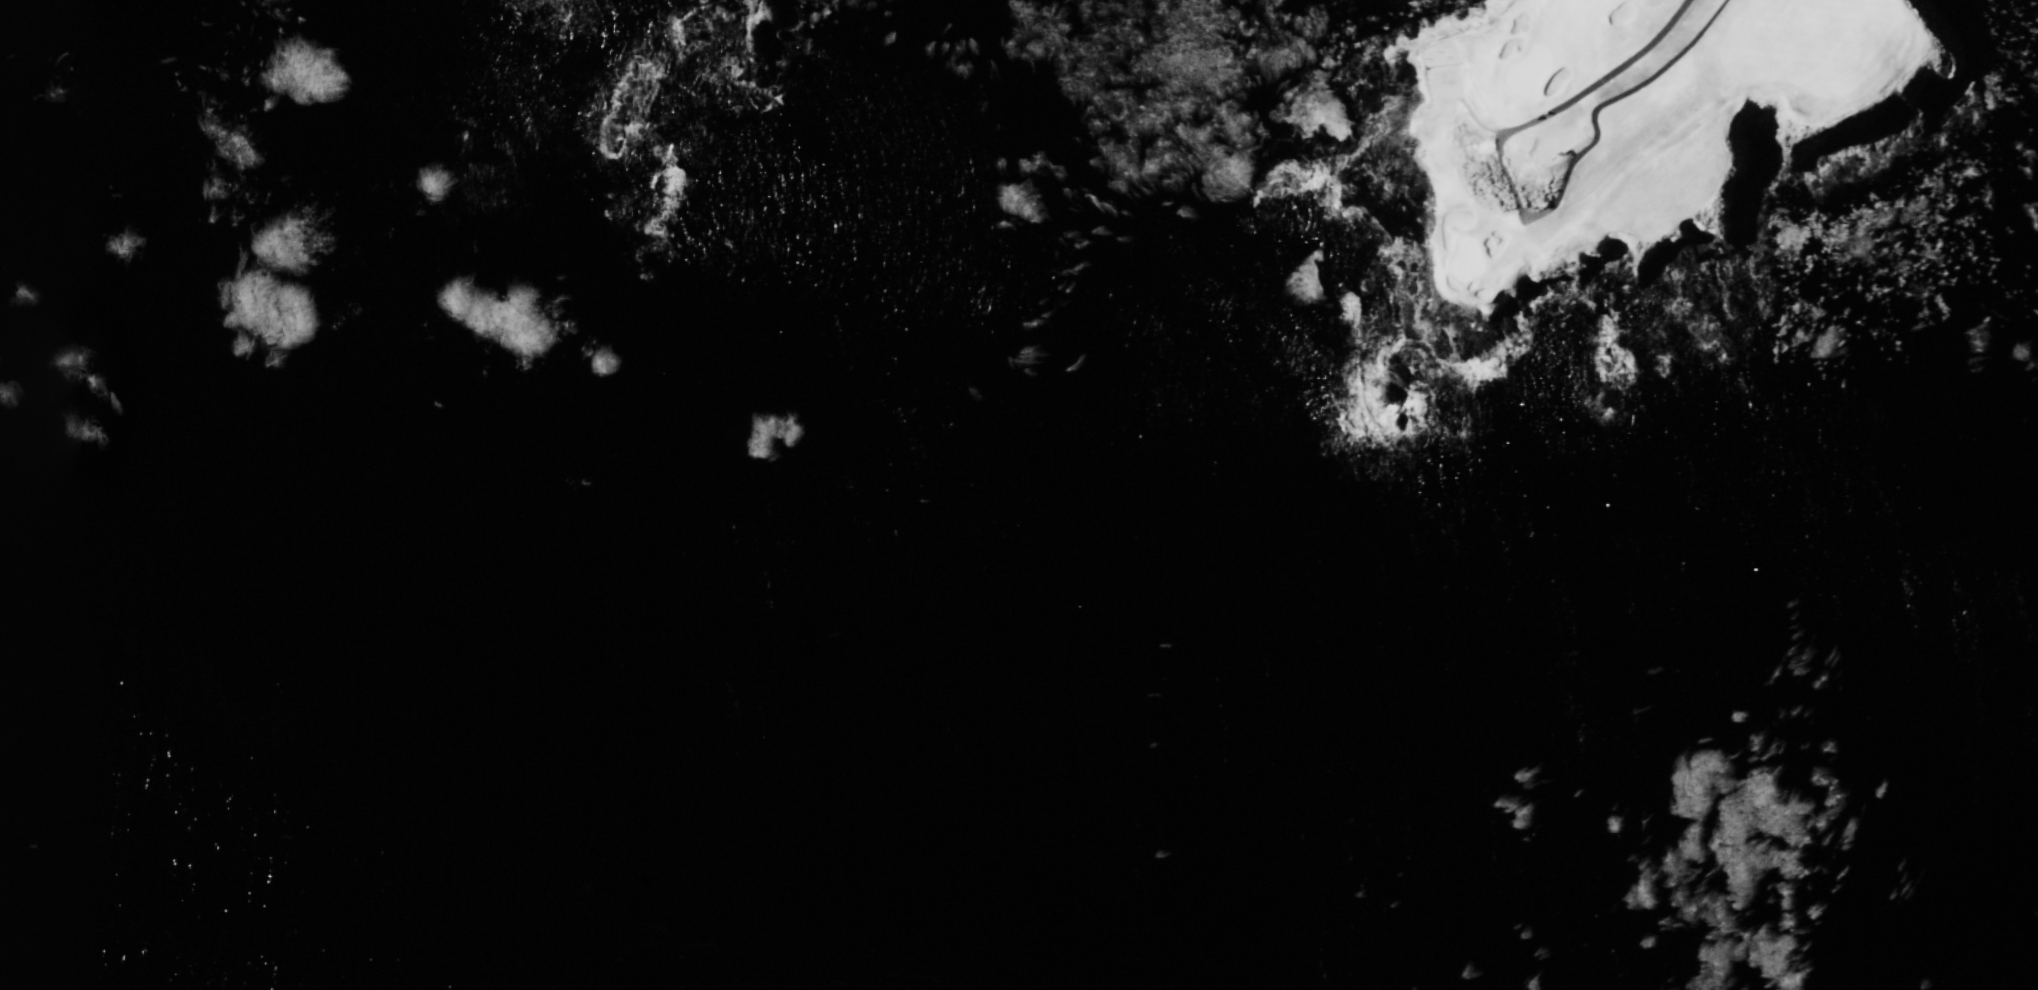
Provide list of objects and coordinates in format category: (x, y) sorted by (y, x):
park: (1526, 68)
park: (1617, 117)
road: (1474, 118)
road: (1504, 129)
road: (1520, 210)

